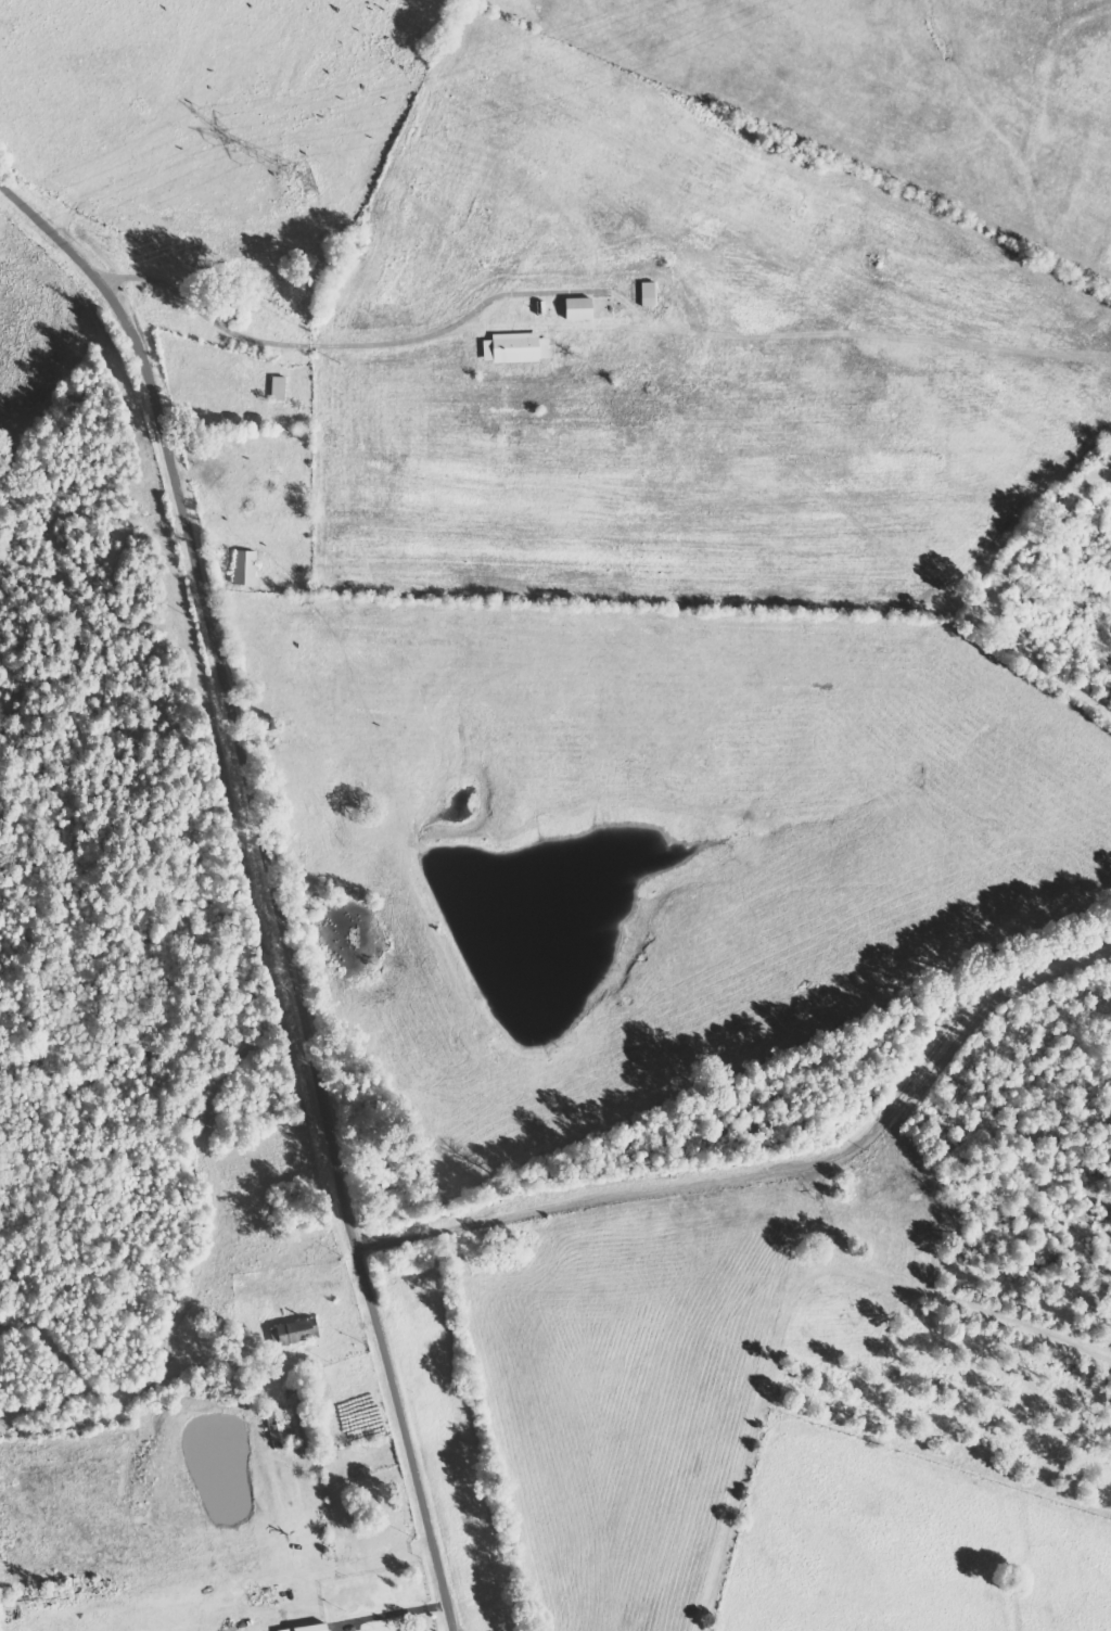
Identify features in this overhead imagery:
power tower: (307, 182)
building: (582, 308)
building: (520, 348)
building: (281, 388)
building: (248, 568)
road: (247, 912)
road: (419, 957)
road: (605, 1130)
park: (949, 1223)
building: (297, 1334)
road: (746, 1387)
road: (1104, 1623)
building: (312, 1628)

